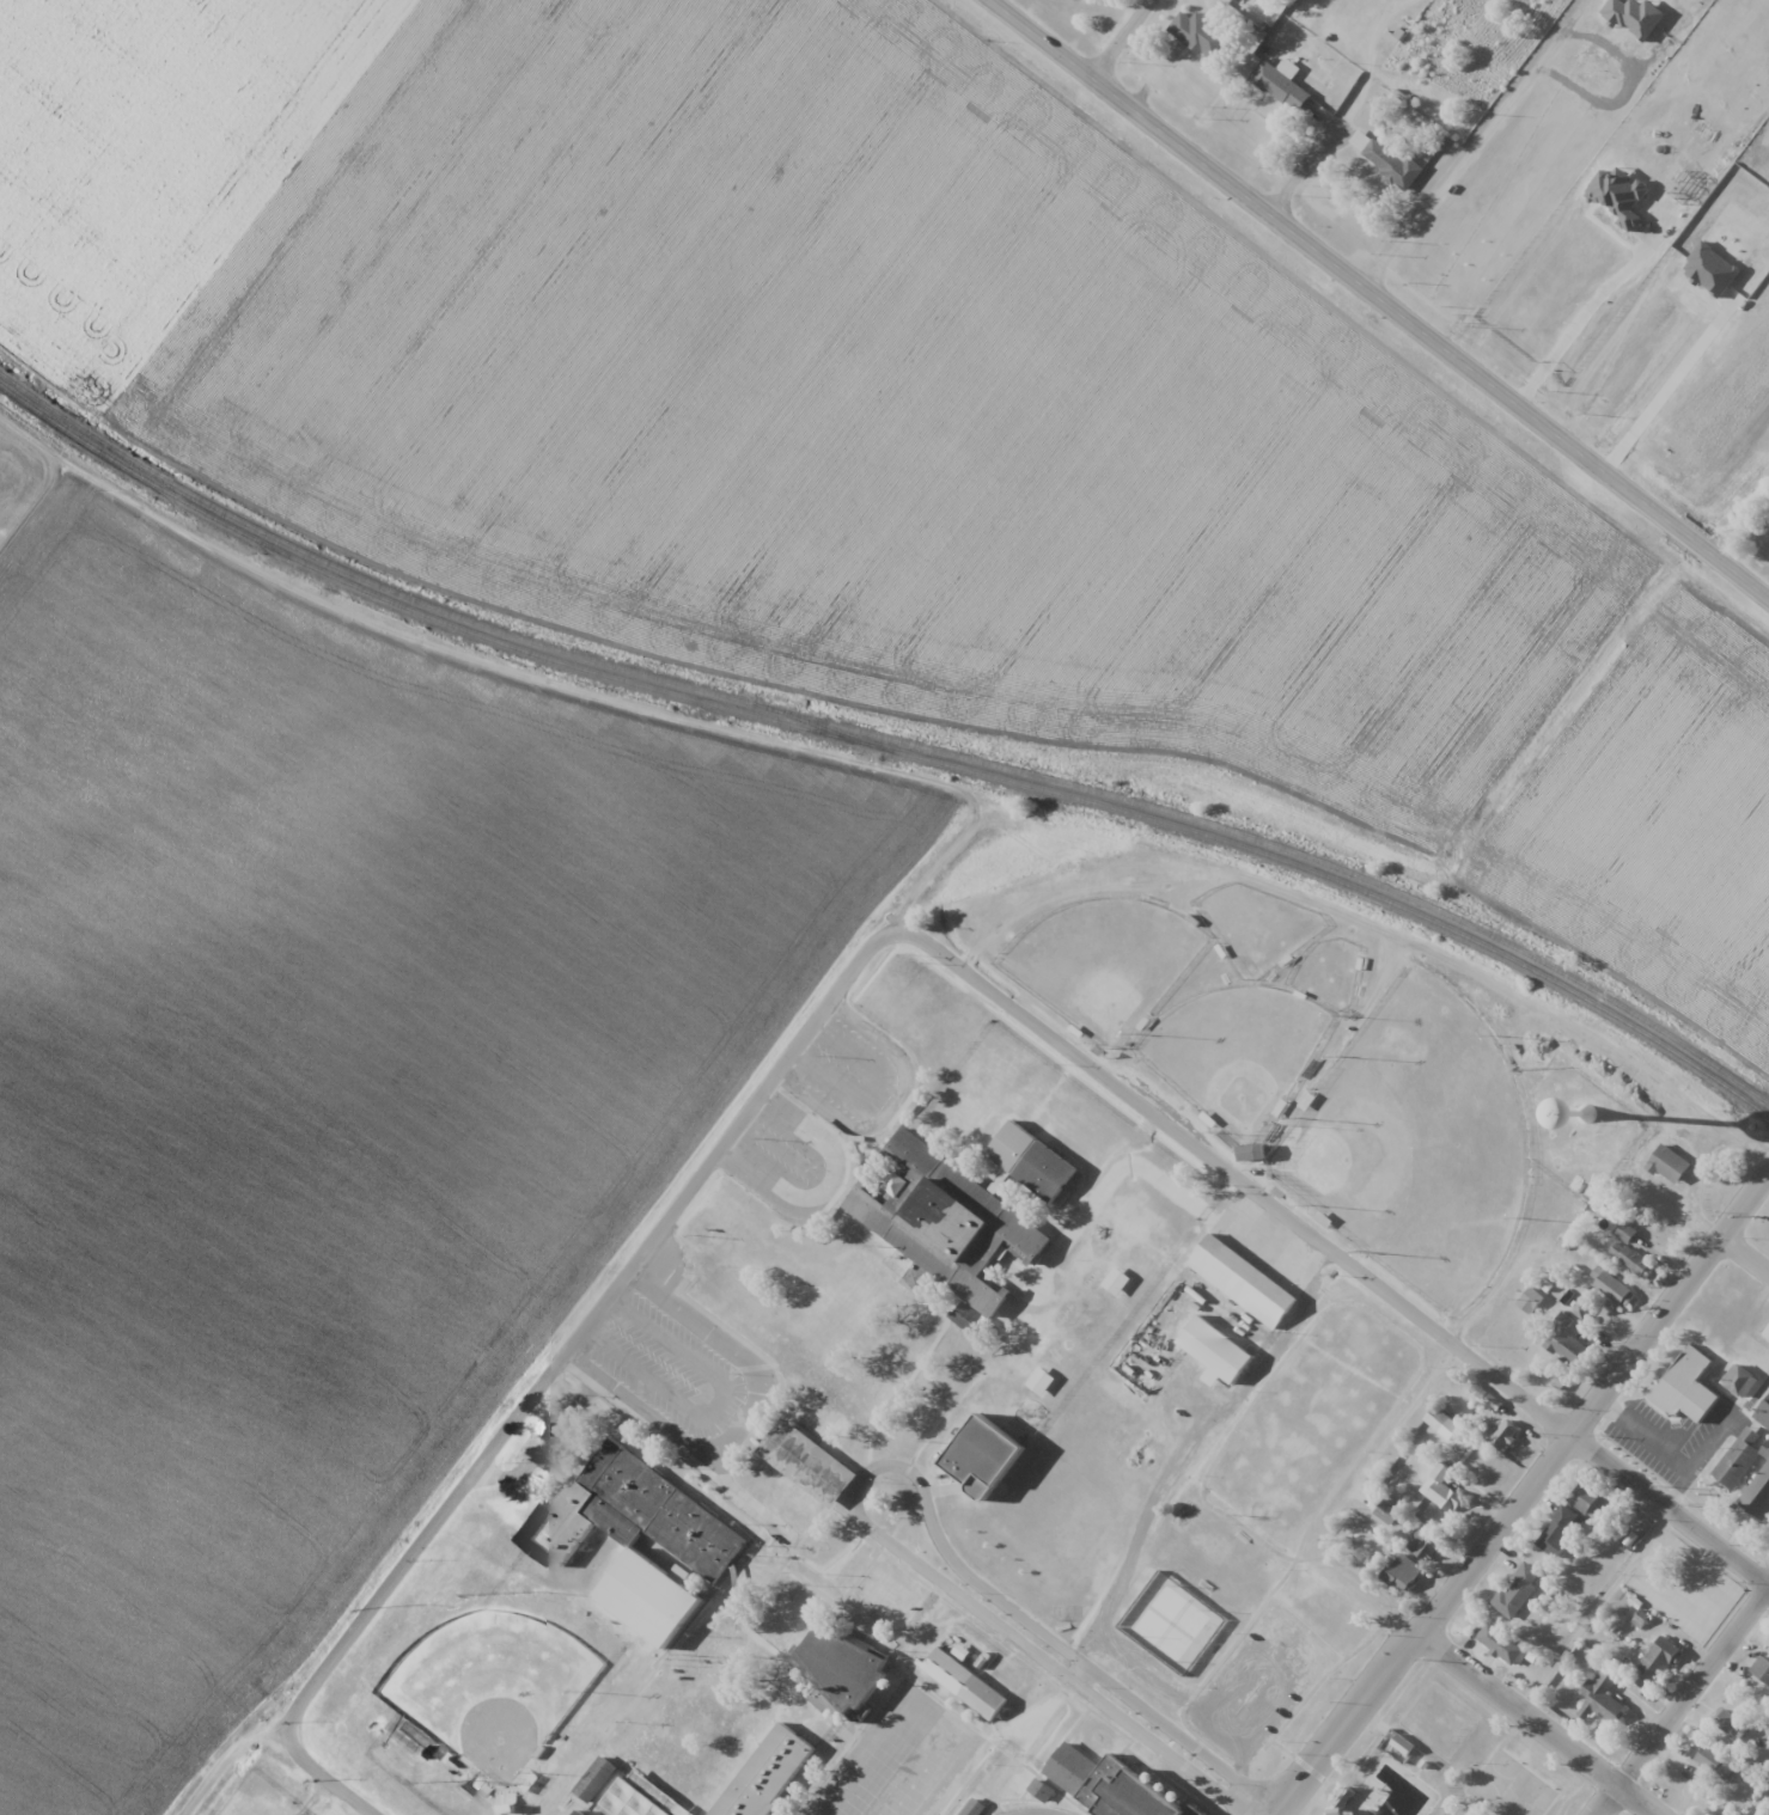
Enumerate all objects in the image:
building: (1236, 0)
building: (1200, 33)
road: (1118, 37)
building: (1399, 45)
building: (1283, 87)
building: (1397, 169)
road: (1273, 225)
crop: (1677, 242)
crop: (788, 378)
road: (1667, 513)
railway: (821, 727)
railway: (884, 738)
railway: (885, 750)
crop: (1657, 825)
crop: (328, 1090)
park: (1415, 1143)
building: (1249, 1153)
building: (1670, 1165)
building: (1044, 1171)
road: (1673, 1202)
building: (1625, 1232)
building: (1659, 1235)
road: (1335, 1247)
road: (1745, 1254)
building: (1631, 1259)
building: (1120, 1283)
building: (1244, 1284)
building: (1609, 1285)
building: (904, 1287)
road: (585, 1325)
building: (758, 1328)
building: (1767, 1332)
building: (1563, 1342)
building: (1219, 1352)
building: (1039, 1381)
building: (1682, 1381)
building: (1741, 1381)
building: (1763, 1416)
building: (1436, 1419)
building: (1505, 1434)
building: (983, 1456)
building: (1740, 1457)
road: (871, 1472)
building: (801, 1475)
building: (1441, 1489)
building: (1759, 1493)
road: (1526, 1499)
building: (1590, 1501)
building: (1386, 1512)
building: (1560, 1530)
building: (1428, 1546)
building: (849, 1569)
building: (1401, 1572)
building: (1517, 1589)
building: (890, 1594)
building: (652, 1601)
building: (1172, 1625)
building: (1768, 1642)
building: (1501, 1644)
building: (1659, 1660)
building: (841, 1666)
building: (1761, 1669)
building: (636, 1672)
building: (965, 1683)
park: (494, 1689)
building: (727, 1695)
building: (1602, 1699)
road: (1683, 1710)
building: (1731, 1724)
road: (1538, 1725)
building: (1403, 1746)
road: (222, 1758)
building: (1713, 1761)
road: (325, 1777)
building: (596, 1779)
building: (1110, 1785)
building: (633, 1801)
building: (974, 1808)
building: (579, 1813)

